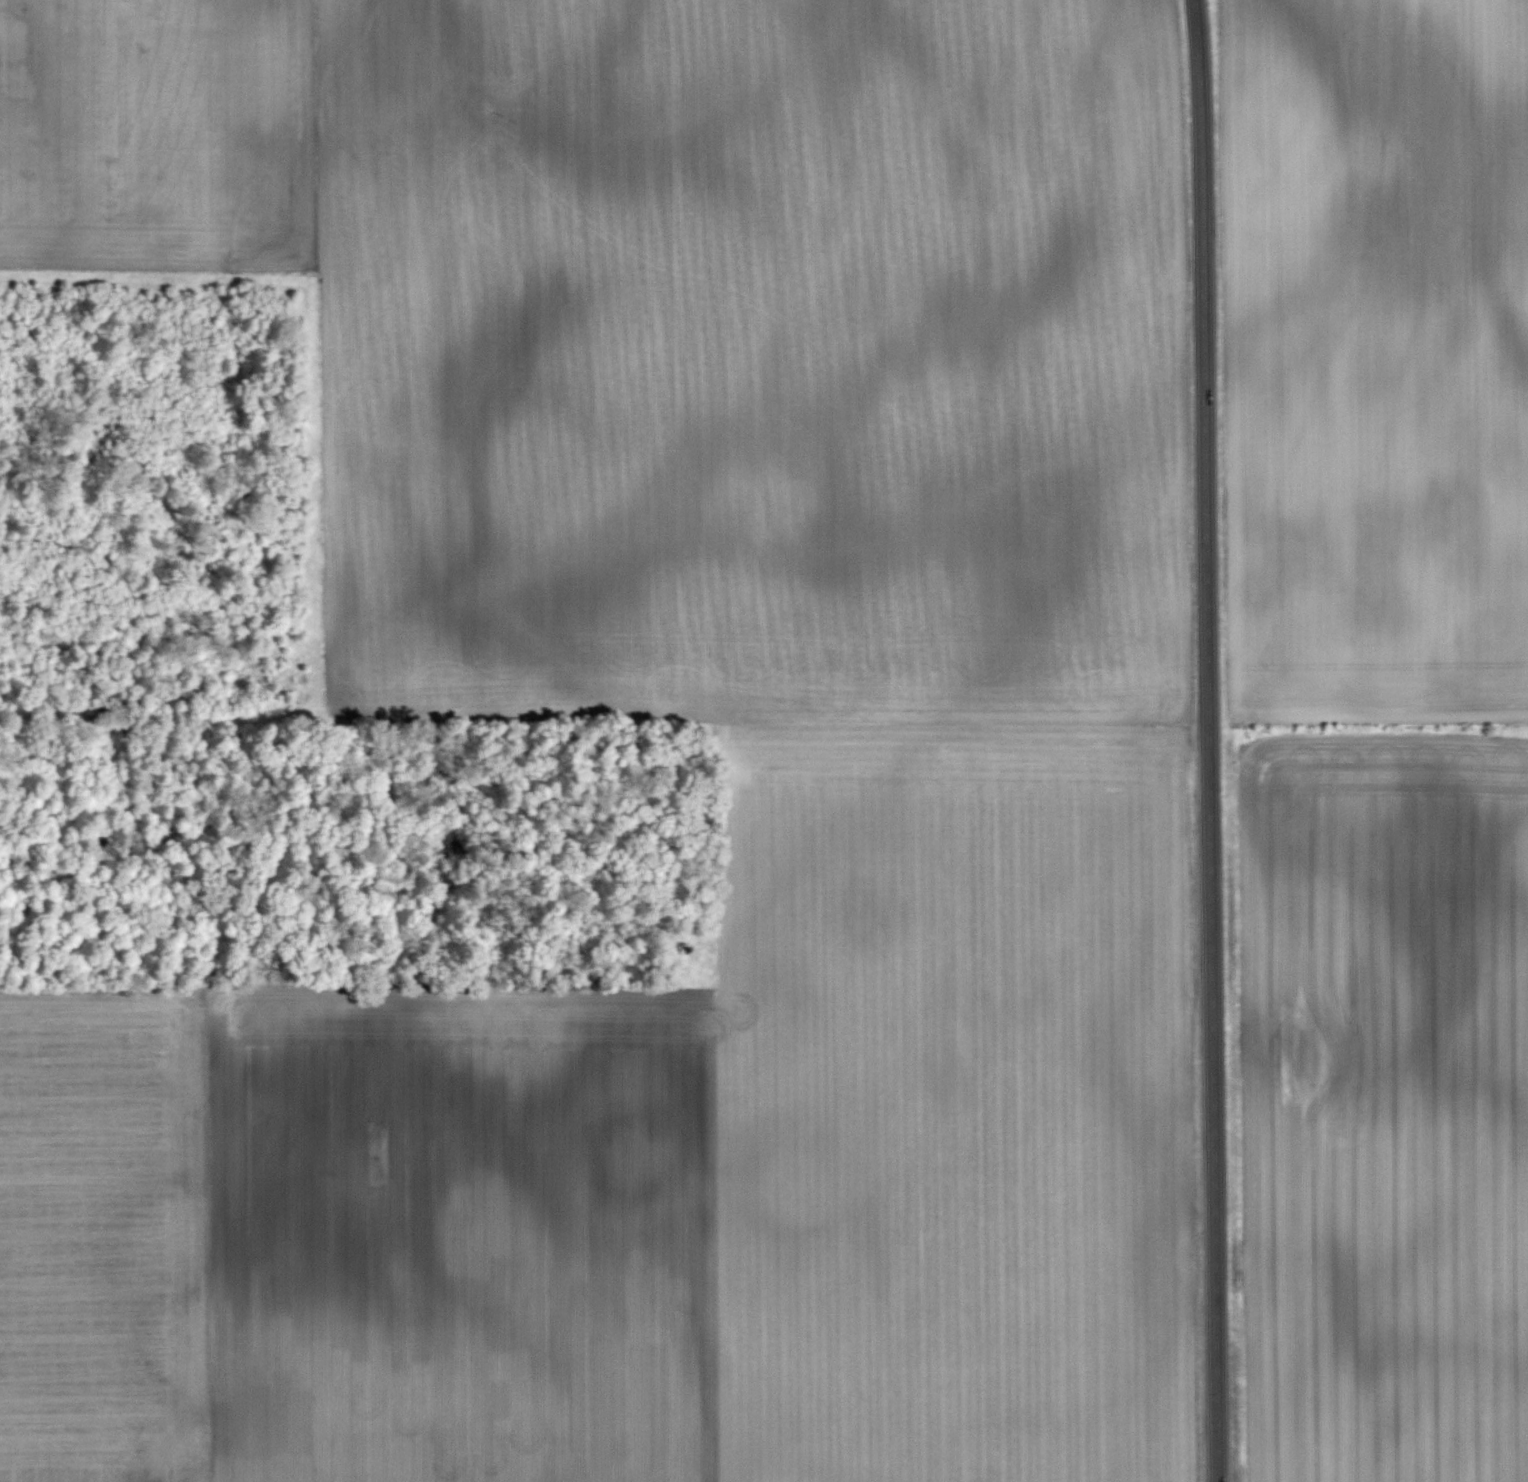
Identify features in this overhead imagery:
road: (1214, 740)

